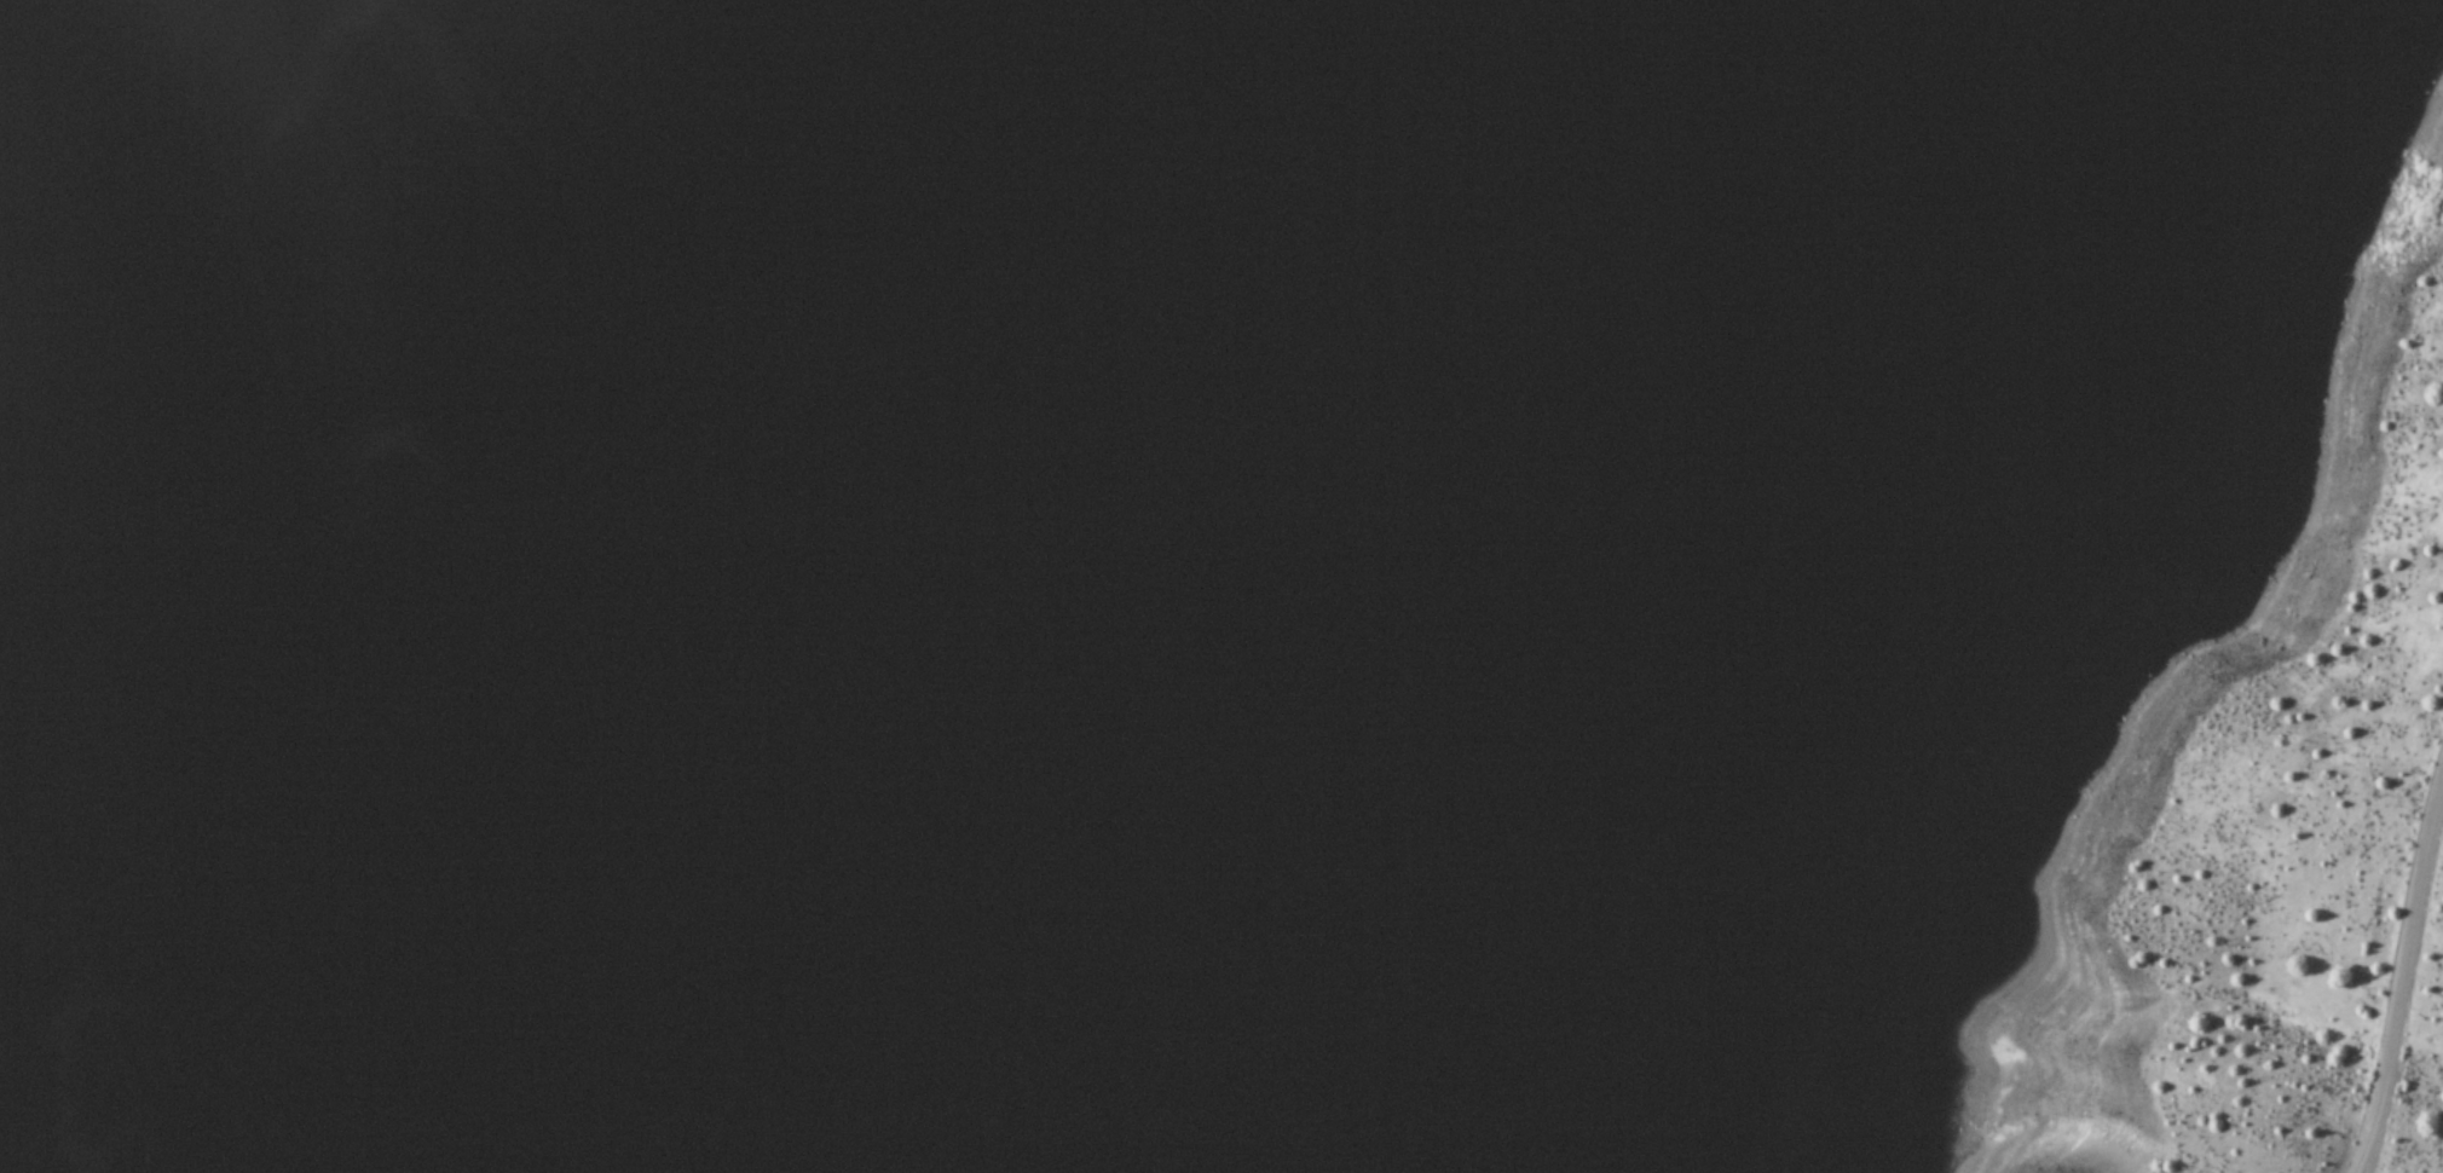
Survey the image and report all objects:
river: (411, 324)
river: (40, 684)
road: (2403, 987)
river: (54, 1054)

